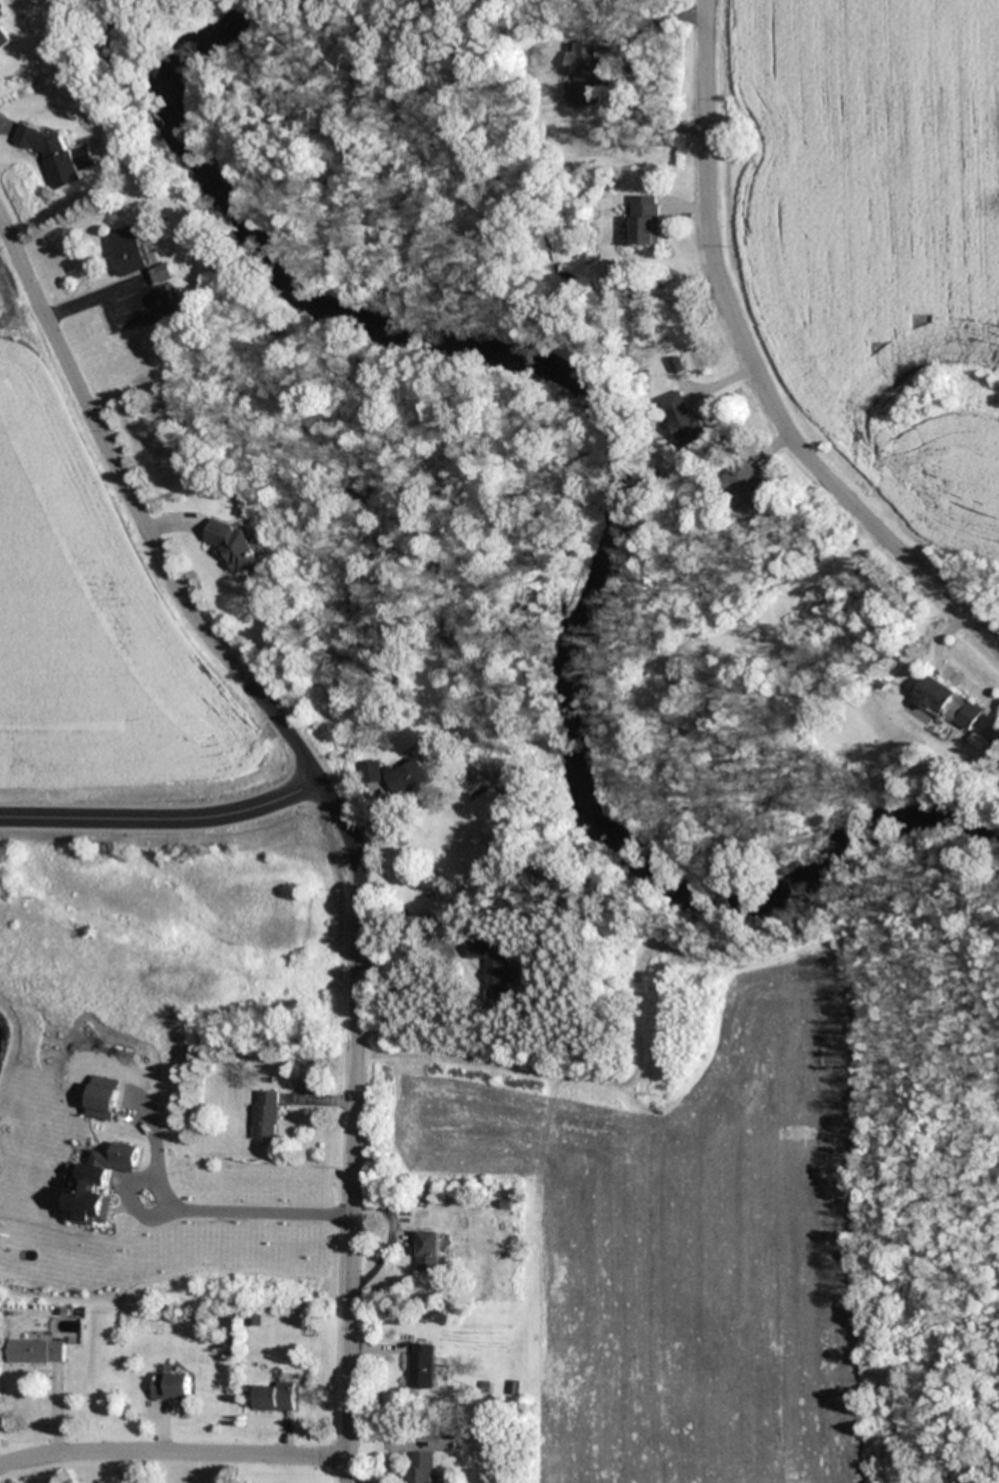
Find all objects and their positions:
building: (4, 38)
building: (583, 74)
building: (55, 156)
building: (646, 221)
building: (135, 257)
crop: (866, 260)
road: (755, 370)
building: (684, 419)
river: (623, 476)
building: (751, 485)
road: (137, 513)
building: (236, 546)
building: (948, 705)
building: (370, 772)
building: (407, 777)
road: (163, 818)
building: (492, 968)
building: (265, 1117)
road: (354, 1125)
building: (221, 1198)
road: (246, 1210)
building: (426, 1251)
building: (37, 1351)
building: (421, 1366)
building: (171, 1387)
building: (275, 1396)
road: (173, 1453)
building: (419, 1467)

